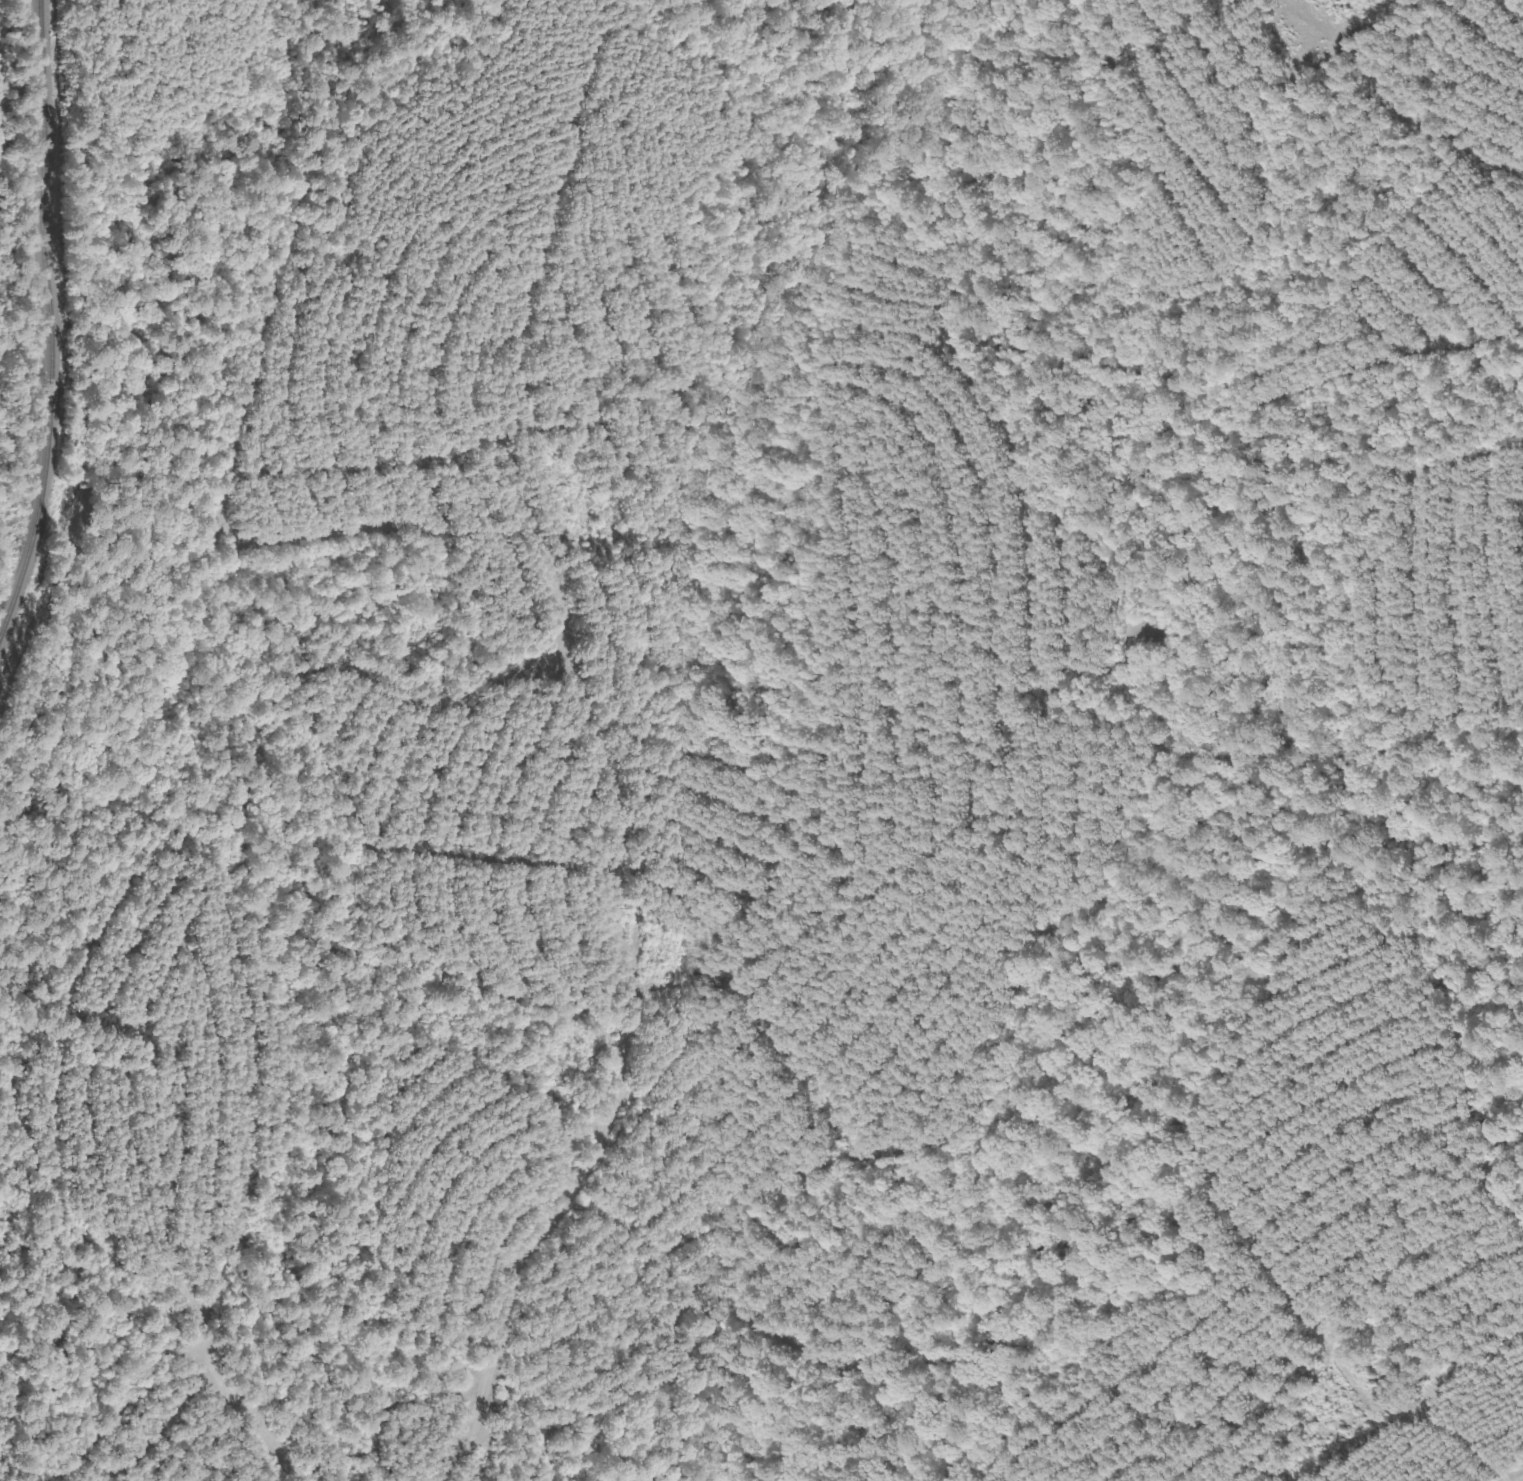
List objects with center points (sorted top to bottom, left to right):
railway: (58, 325)

